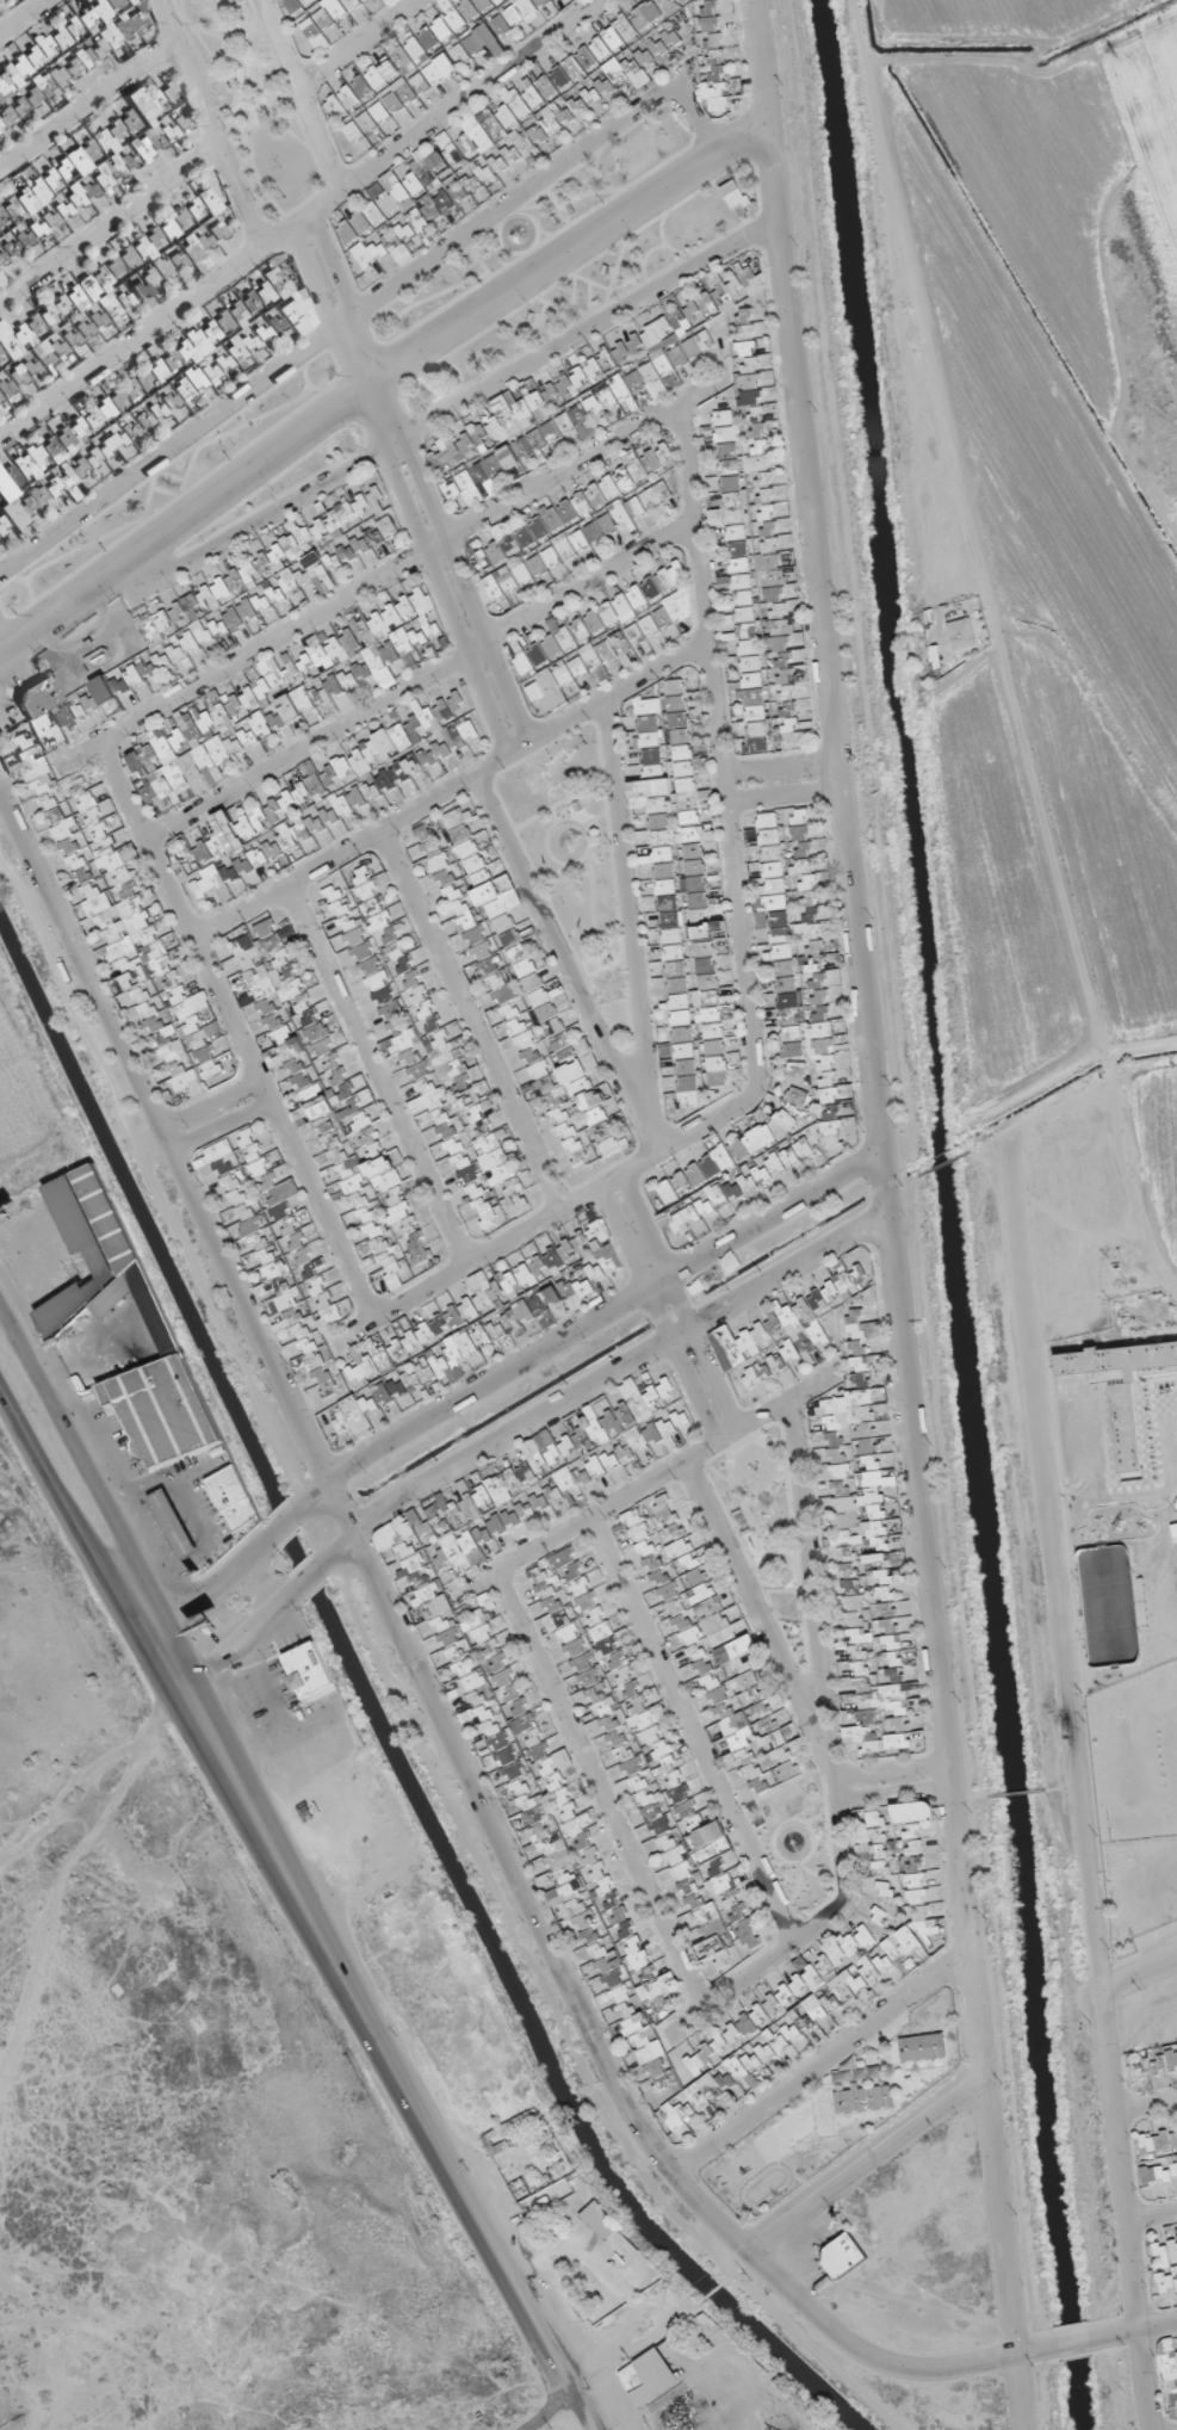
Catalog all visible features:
building: (618, 39)
building: (735, 198)
road: (1158, 2326)

